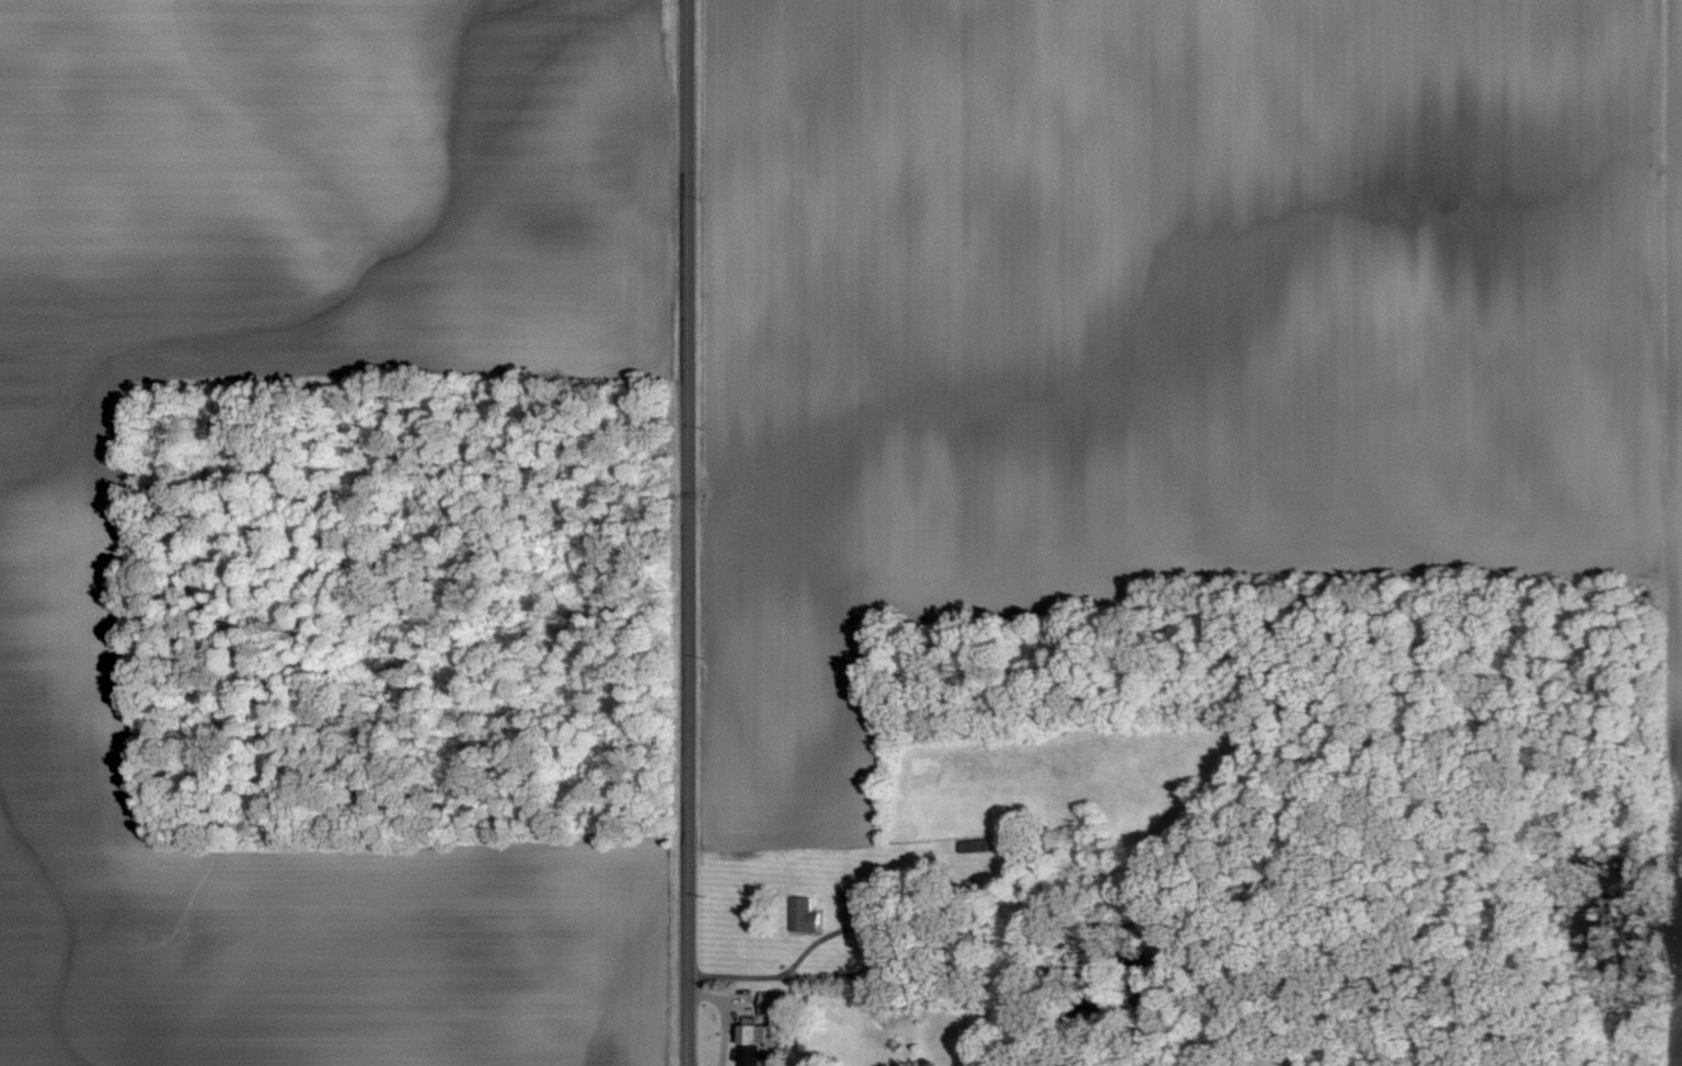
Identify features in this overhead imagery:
road: (684, 533)
building: (803, 916)
building: (754, 1044)

